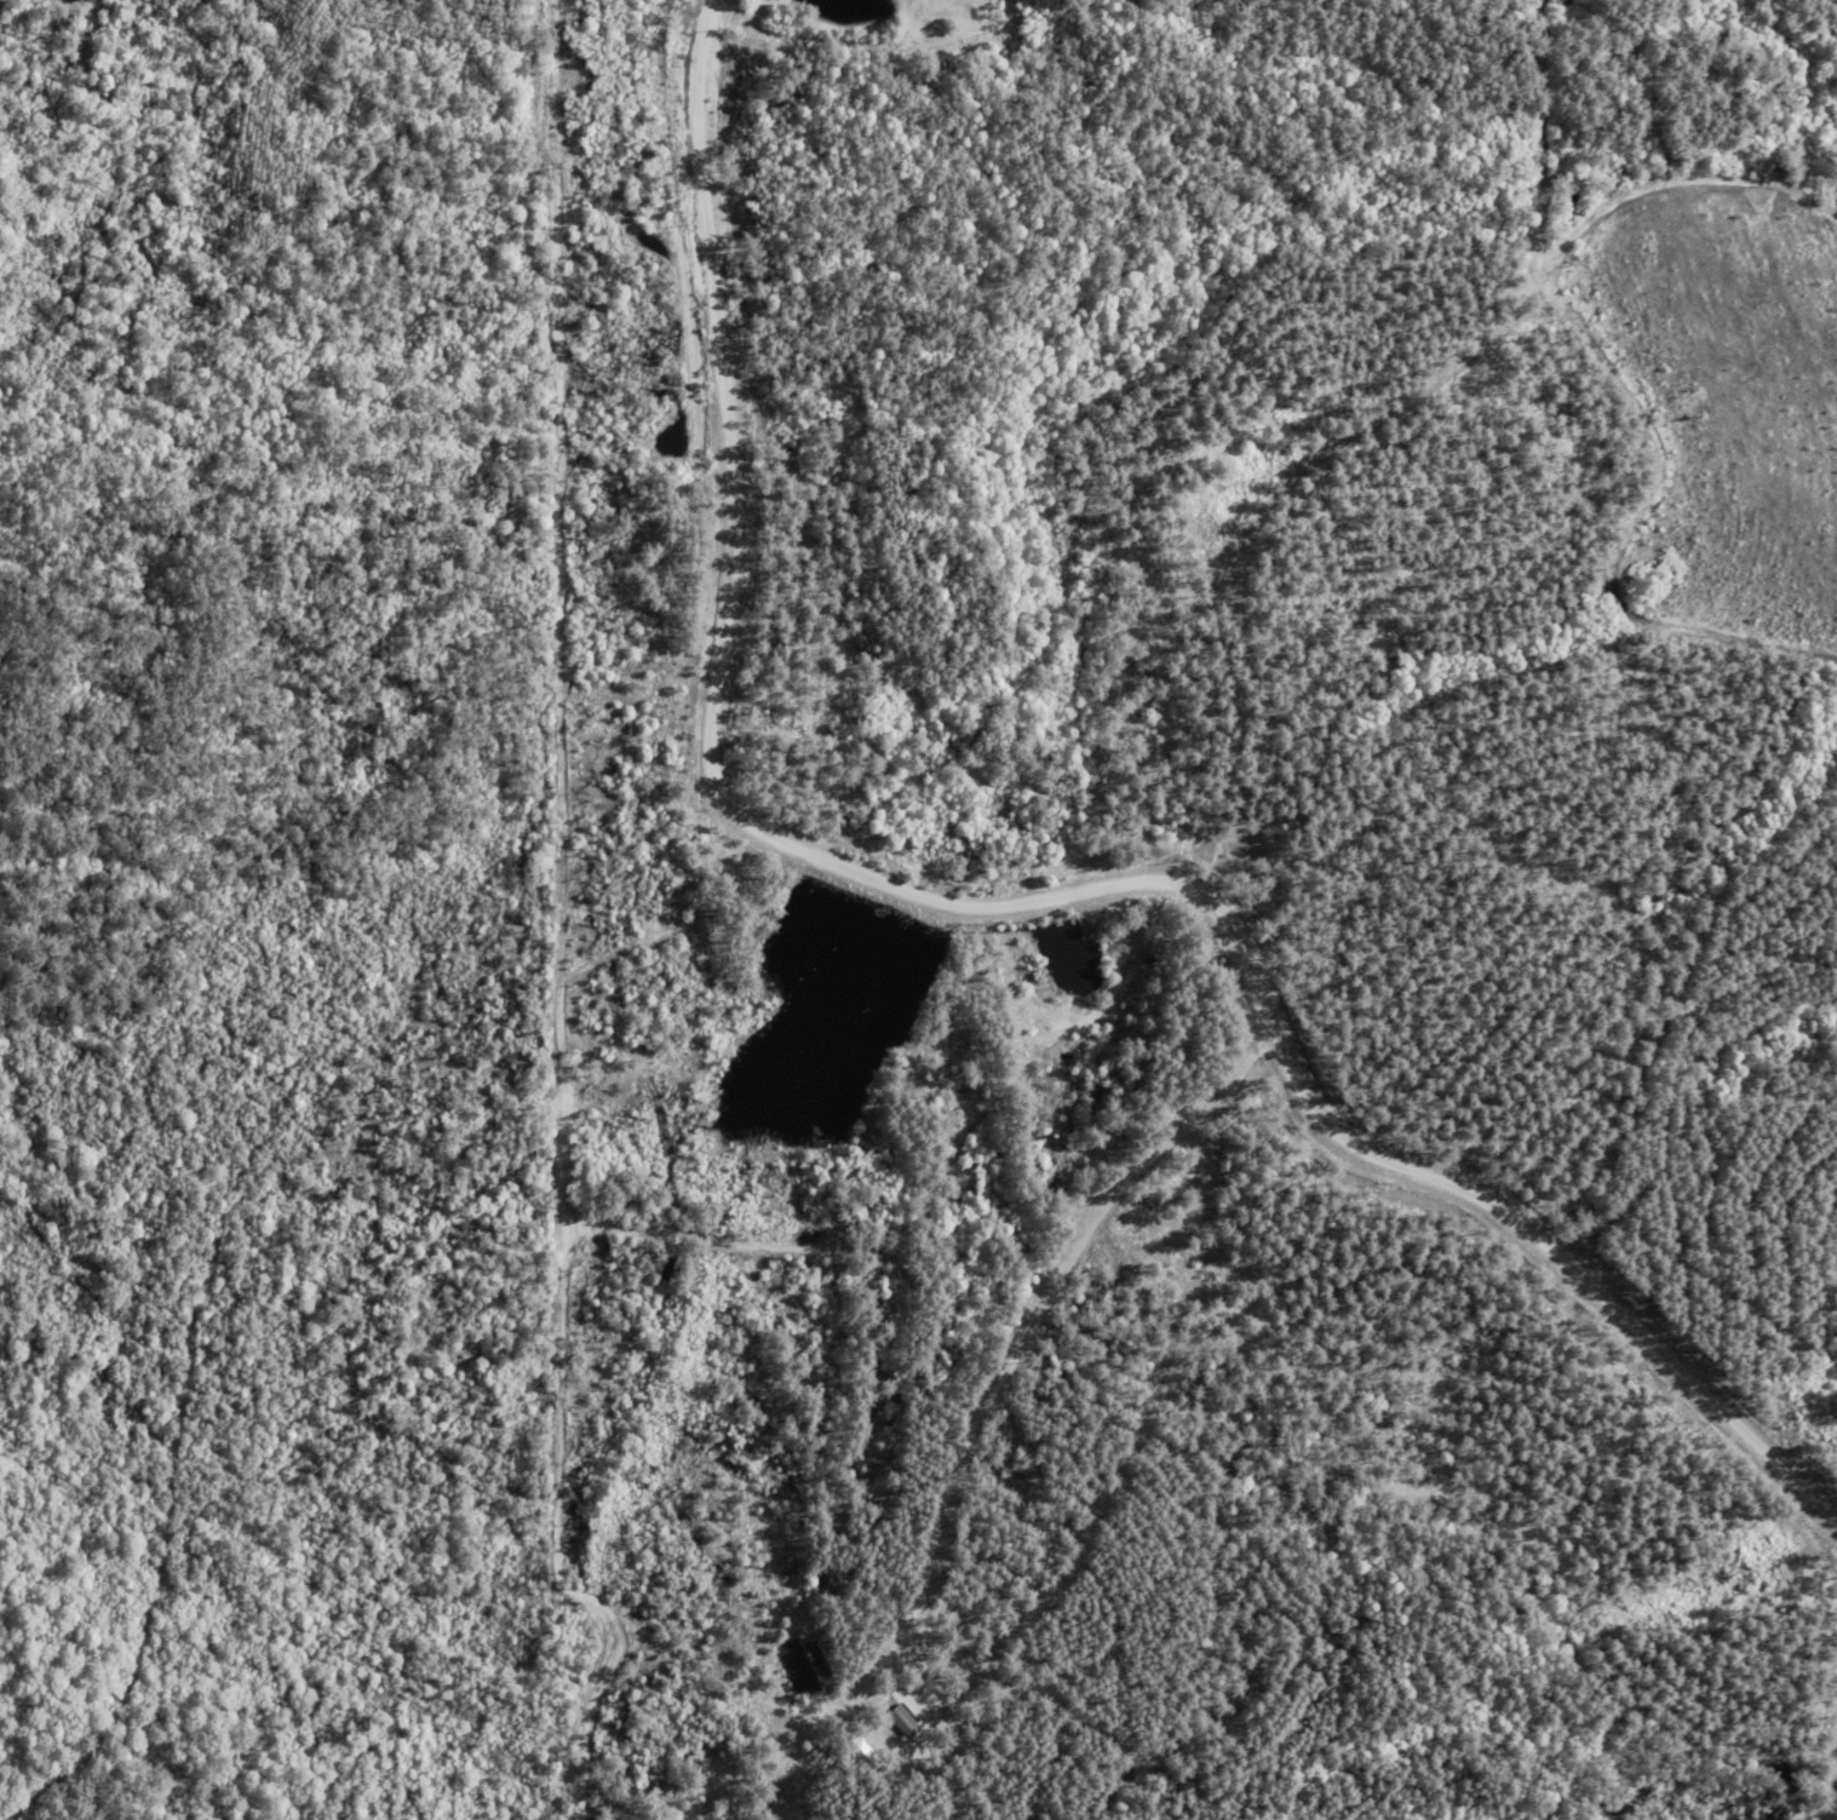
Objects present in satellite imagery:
road: (1006, 906)
building: (901, 1719)
road: (1836, 1818)

